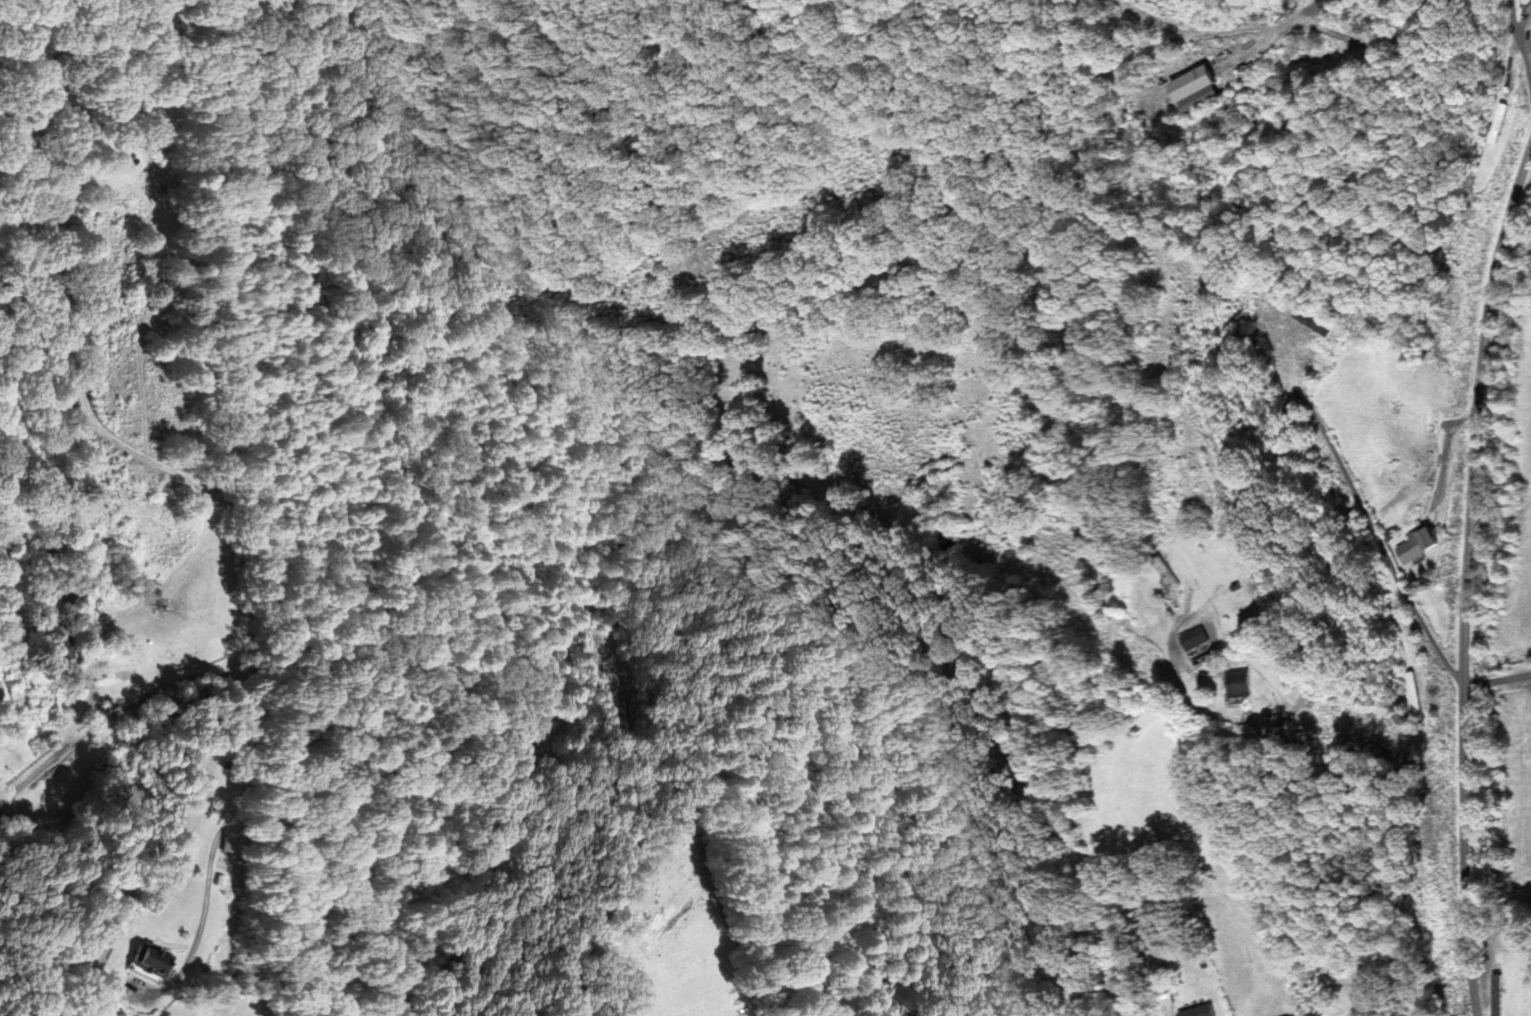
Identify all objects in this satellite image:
building: (1334, 3)
building: (1529, 18)
building: (1201, 89)
building: (1500, 123)
road: (78, 396)
road: (1287, 472)
building: (1425, 544)
building: (1172, 571)
road: (1468, 579)
building: (63, 594)
building: (1200, 637)
building: (61, 643)
road: (1498, 680)
building: (1247, 682)
building: (1424, 690)
road: (76, 723)
road: (249, 763)
building: (152, 960)
road: (1384, 971)
building: (1499, 995)
road: (1172, 1010)

